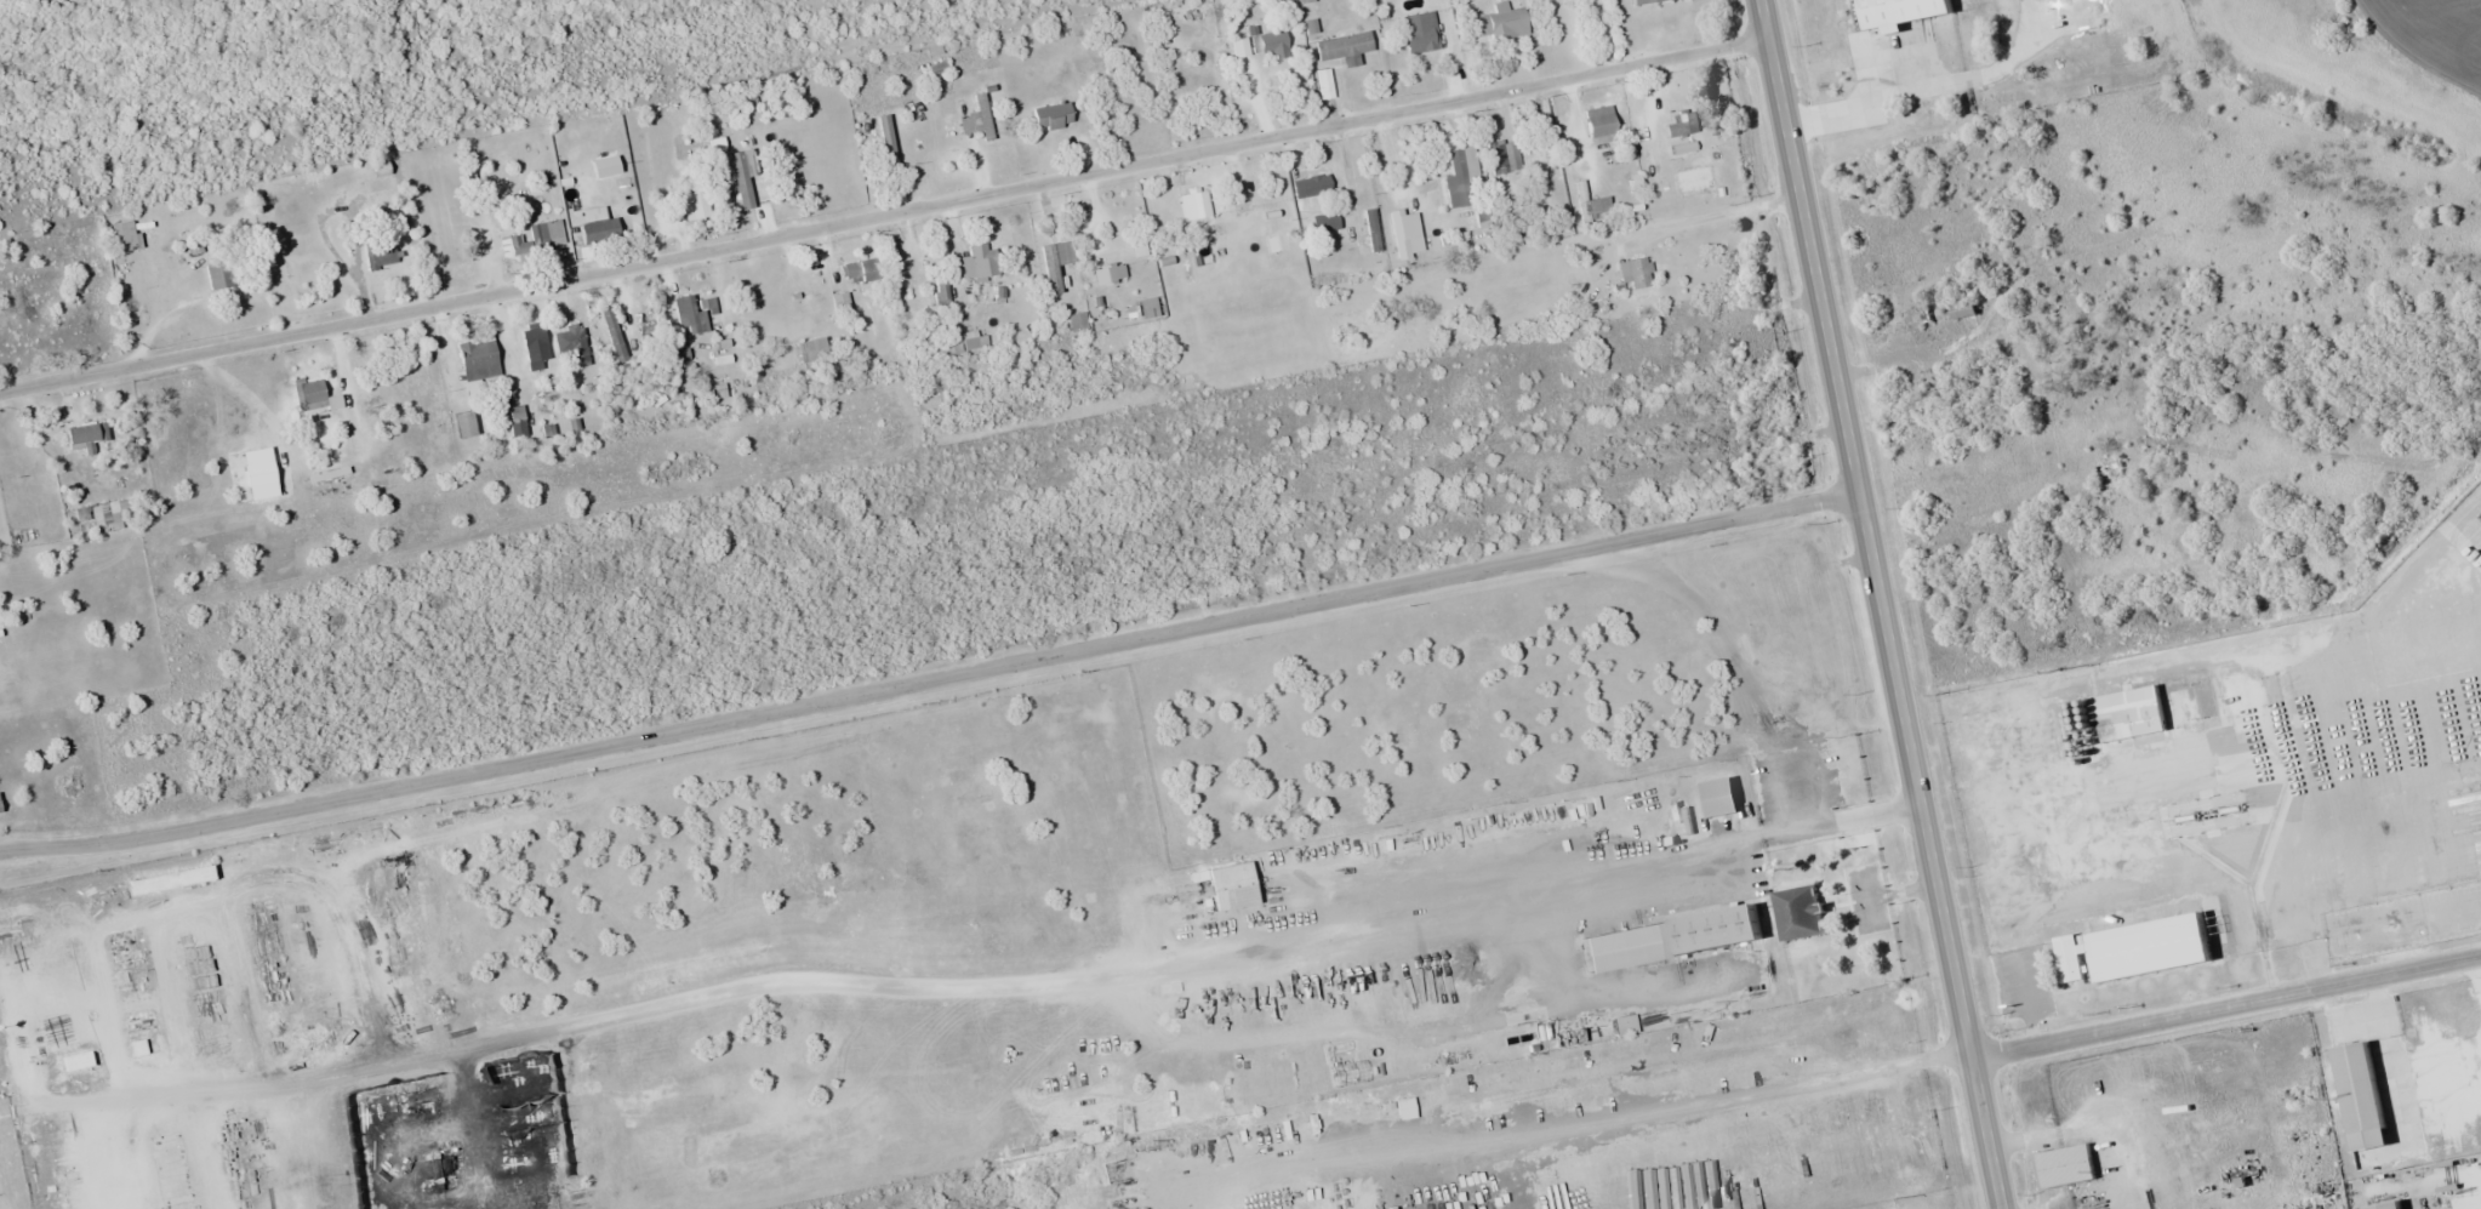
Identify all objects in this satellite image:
building: (1304, 1)
building: (1644, 1)
building: (1905, 12)
building: (1499, 27)
building: (1418, 33)
building: (1268, 45)
building: (1344, 46)
building: (1051, 116)
building: (977, 119)
building: (1599, 125)
building: (1679, 125)
building: (888, 144)
building: (1501, 156)
building: (743, 177)
building: (1460, 177)
building: (1541, 177)
building: (1311, 187)
building: (378, 193)
building: (1598, 205)
road: (884, 216)
building: (599, 227)
building: (1405, 233)
building: (546, 235)
building: (125, 236)
building: (444, 246)
building: (380, 253)
building: (976, 263)
building: (1054, 263)
building: (868, 272)
building: (1635, 273)
building: (223, 274)
building: (1110, 274)
building: (912, 283)
building: (1150, 307)
building: (1963, 308)
building: (689, 315)
building: (1077, 323)
building: (614, 333)
building: (571, 346)
building: (536, 348)
building: (812, 352)
building: (479, 360)
building: (309, 394)
building: (91, 439)
road: (1881, 604)
road: (930, 680)
building: (2138, 719)
building: (1722, 797)
building: (172, 880)
building: (1233, 886)
building: (1800, 912)
building: (1711, 930)
building: (2158, 945)
building: (2072, 957)
road: (2226, 1006)
building: (1625, 1025)
building: (139, 1050)
building: (8, 1051)
building: (79, 1062)
building: (2367, 1095)
building: (1405, 1108)
building: (2069, 1164)
building: (176, 1179)
building: (2394, 1205)

